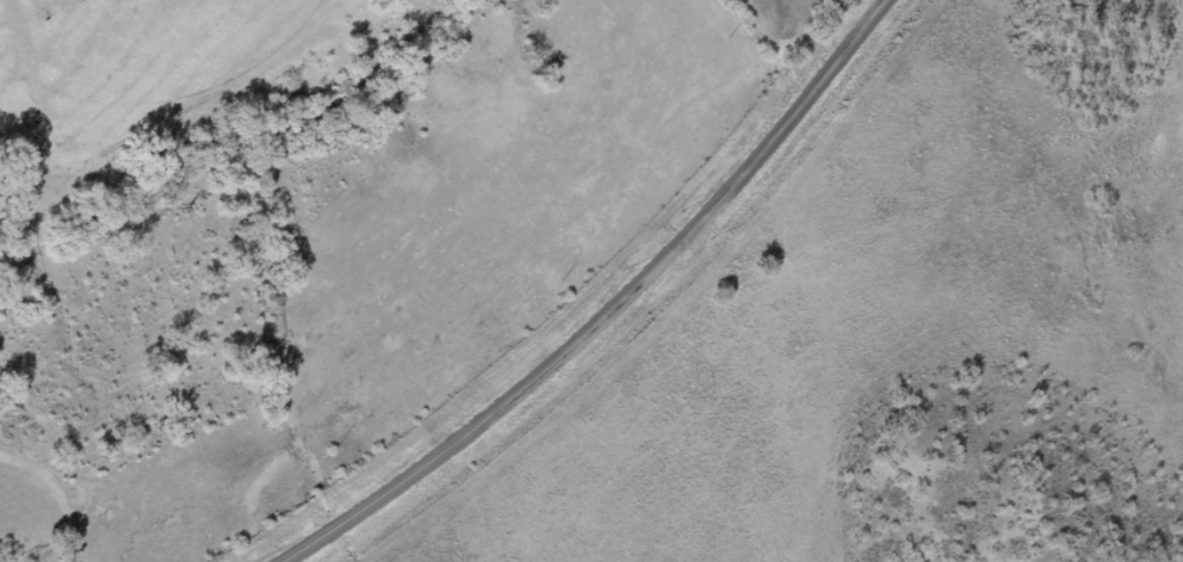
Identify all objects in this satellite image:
road: (608, 311)
road: (48, 518)

